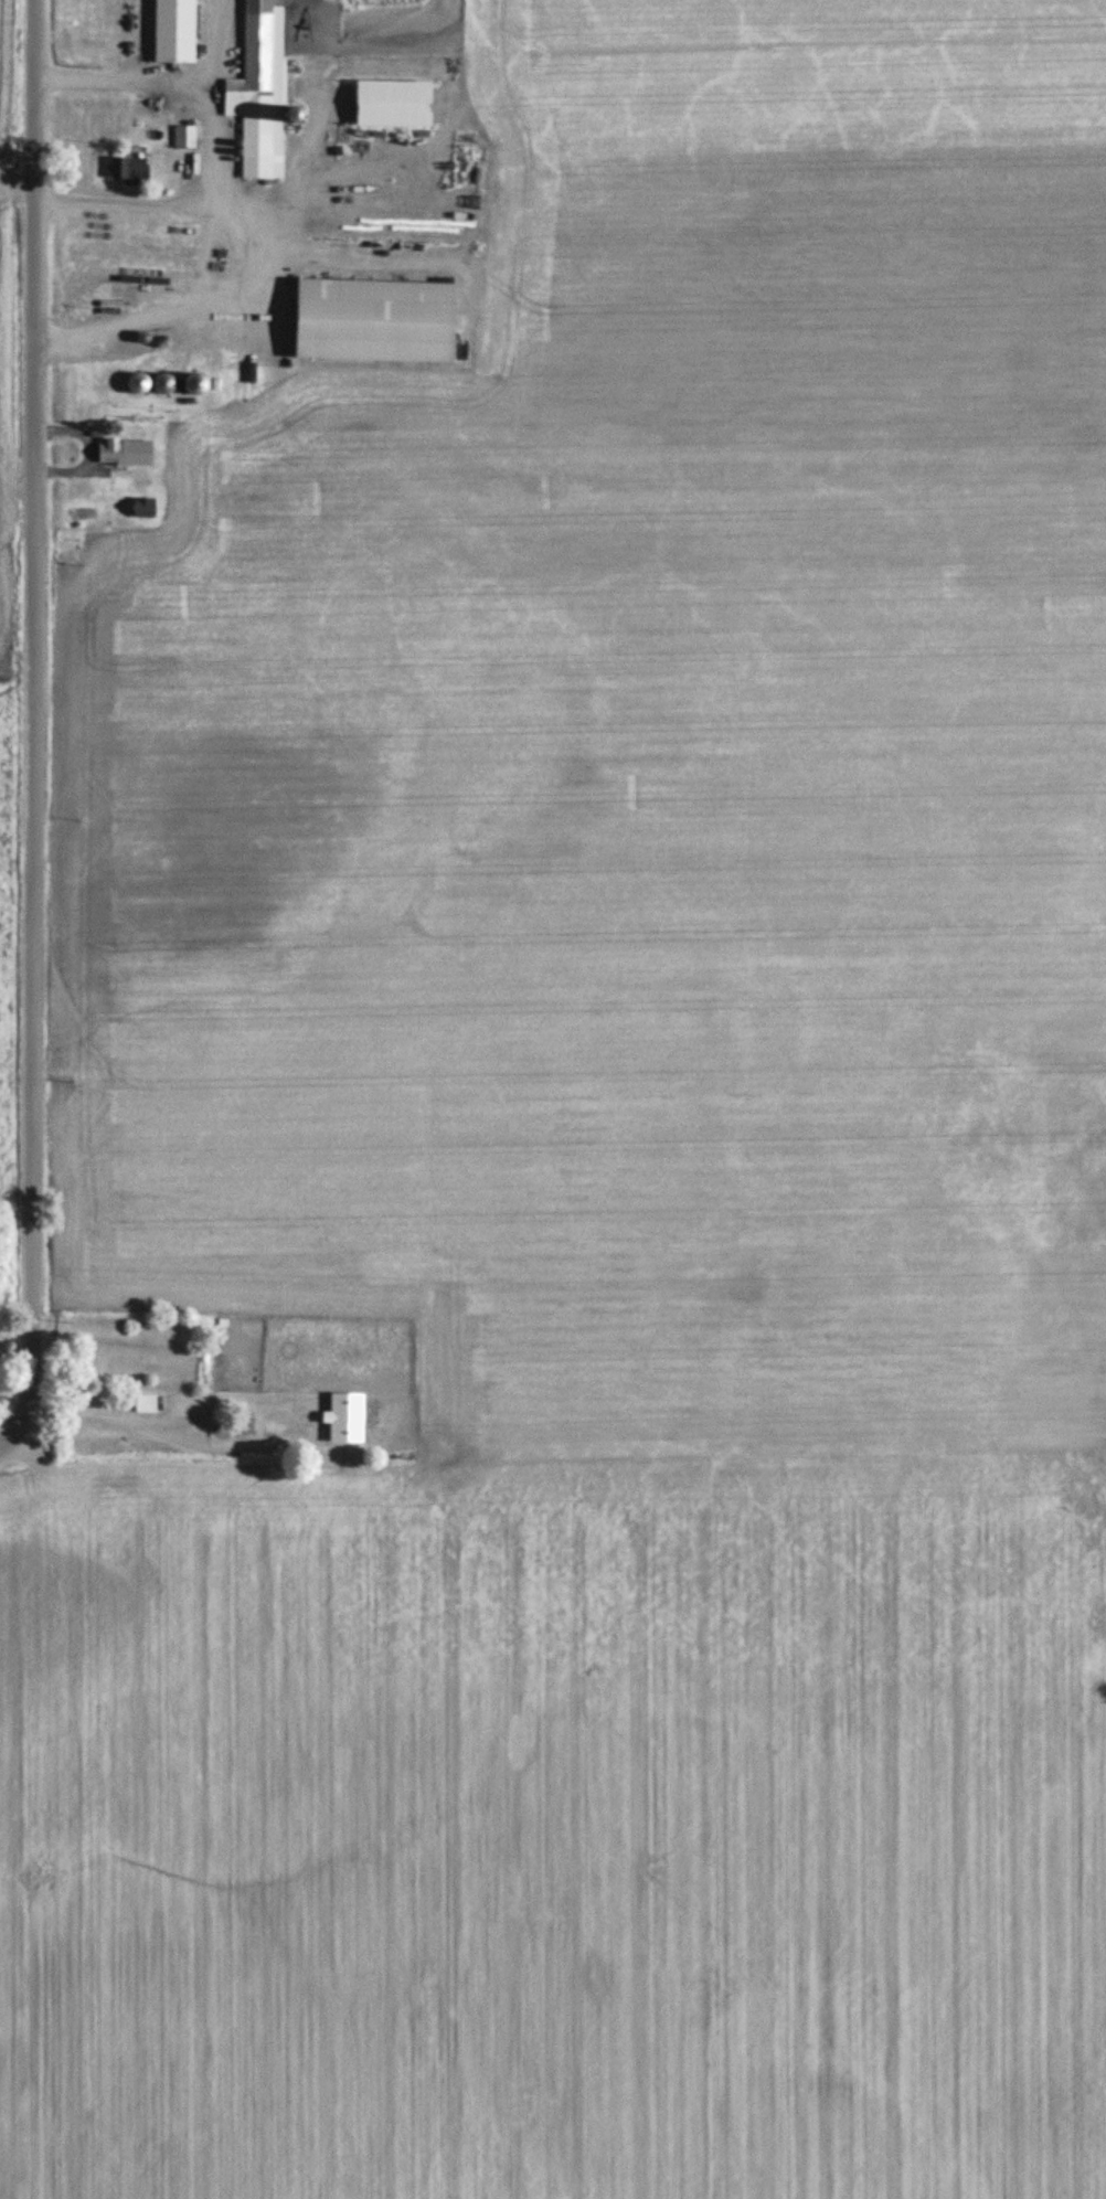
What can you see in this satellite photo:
building: (176, 31)
building: (262, 91)
building: (383, 102)
building: (188, 136)
building: (129, 168)
building: (372, 320)
building: (124, 449)
road: (36, 732)
building: (147, 1402)
building: (249, 1426)
road: (14, 1464)

